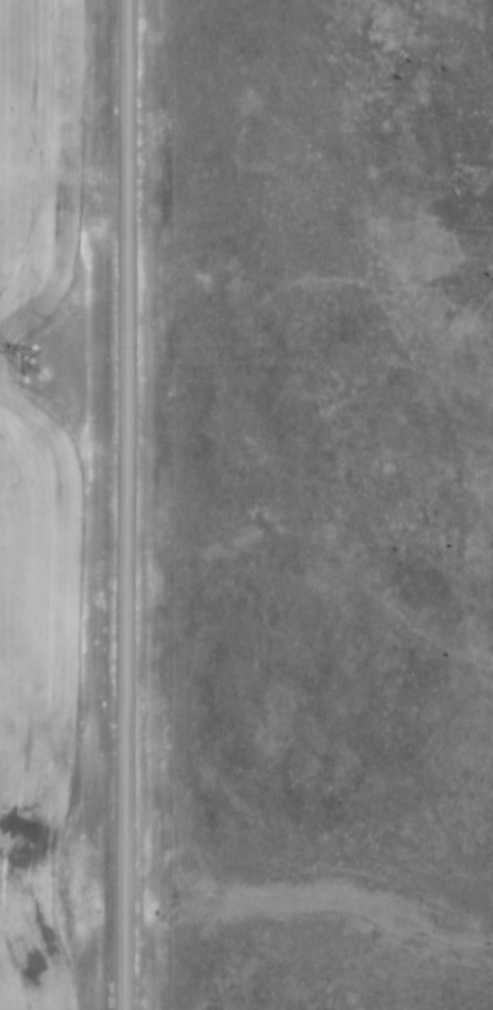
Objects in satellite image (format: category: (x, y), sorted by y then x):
power tower: (21, 363)
road: (126, 504)

